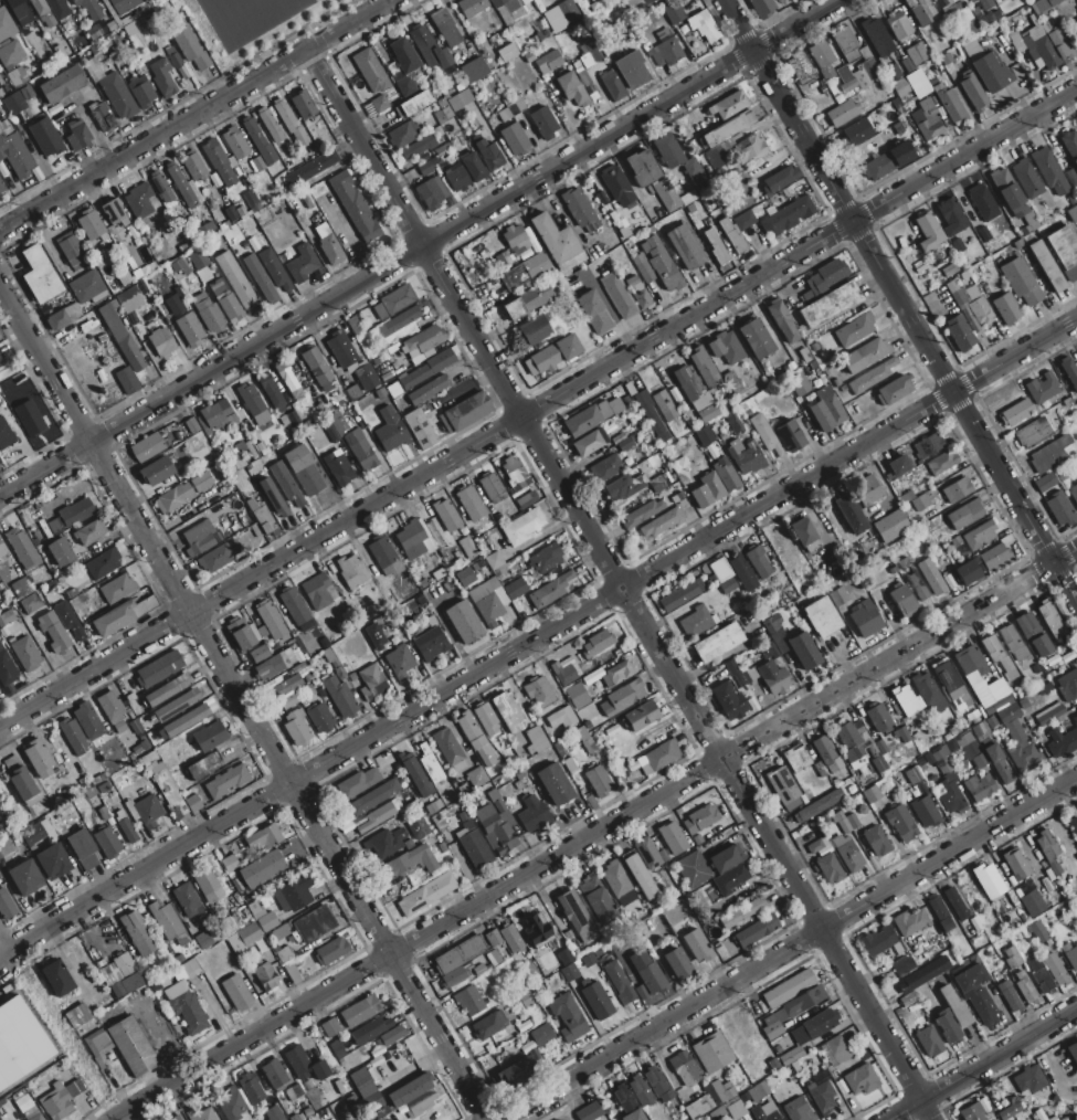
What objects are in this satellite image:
building: (1013, 0)
building: (647, 1)
building: (635, 2)
building: (1053, 2)
building: (942, 3)
building: (983, 3)
building: (124, 6)
building: (472, 7)
building: (1038, 7)
building: (59, 8)
building: (89, 8)
building: (761, 8)
building: (509, 10)
building: (18, 11)
building: (920, 11)
building: (42, 12)
building: (673, 12)
building: (995, 14)
building: (563, 15)
park: (247, 18)
building: (1076, 20)
building: (1076, 23)
building: (6, 24)
building: (110, 25)
building: (703, 25)
building: (898, 25)
building: (445, 28)
building: (130, 30)
building: (97, 31)
building: (553, 31)
building: (539, 36)
building: (877, 38)
building: (1059, 43)
building: (846, 45)
building: (970, 46)
building: (429, 49)
building: (191, 50)
building: (1041, 50)
building: (9, 52)
building: (59, 52)
building: (665, 52)
building: (98, 53)
building: (589, 53)
building: (864, 53)
building: (915, 53)
building: (404, 56)
building: (529, 56)
building: (822, 59)
building: (947, 59)
building: (176, 60)
building: (548, 61)
building: (907, 65)
building: (800, 67)
building: (869, 68)
building: (632, 70)
building: (370, 71)
building: (475, 71)
building: (843, 72)
building: (991, 72)
building: (893, 73)
building: (15, 77)
building: (583, 77)
building: (163, 78)
building: (860, 80)
building: (62, 84)
building: (612, 85)
building: (906, 85)
building: (848, 86)
building: (405, 87)
building: (572, 89)
building: (591, 91)
building: (972, 91)
building: (1, 93)
building: (140, 93)
building: (117, 96)
building: (460, 98)
building: (17, 101)
building: (441, 103)
building: (599, 103)
building: (303, 104)
building: (379, 104)
building: (895, 104)
building: (949, 104)
building: (413, 105)
building: (728, 105)
building: (930, 109)
building: (843, 113)
building: (442, 115)
building: (504, 115)
building: (102, 117)
road: (198, 117)
building: (543, 121)
building: (289, 123)
building: (270, 125)
building: (926, 126)
building: (728, 128)
building: (898, 128)
road: (93, 130)
building: (857, 133)
building: (403, 135)
building: (77, 136)
building: (45, 138)
building: (514, 139)
building: (323, 140)
building: (258, 141)
building: (234, 142)
building: (1070, 145)
building: (418, 148)
building: (442, 148)
building: (749, 149)
building: (667, 150)
building: (13, 151)
building: (488, 154)
building: (898, 155)
building: (714, 157)
building: (218, 161)
building: (231, 162)
building: (257, 163)
building: (194, 166)
building: (472, 166)
building: (877, 167)
building: (310, 168)
building: (642, 168)
building: (693, 170)
building: (1049, 170)
building: (731, 175)
building: (1026, 178)
building: (1071, 178)
building: (456, 179)
building: (780, 180)
building: (2, 186)
building: (160, 186)
building: (616, 186)
building: (181, 187)
building: (431, 192)
building: (1009, 192)
building: (667, 196)
building: (139, 200)
building: (251, 201)
building: (982, 202)
building: (353, 205)
road: (490, 208)
building: (580, 209)
building: (114, 212)
building: (1073, 214)
building: (789, 215)
building: (745, 220)
building: (953, 220)
building: (1030, 222)
building: (89, 224)
building: (204, 229)
building: (167, 231)
building: (928, 231)
building: (983, 233)
building: (230, 235)
building: (514, 235)
building: (732, 235)
building: (556, 239)
building: (1017, 243)
building: (328, 244)
road: (50, 245)
building: (958, 245)
building: (686, 247)
building: (715, 247)
building: (183, 249)
building: (521, 250)
building: (1064, 251)
building: (72, 252)
building: (481, 256)
building: (199, 258)
building: (180, 265)
building: (304, 265)
building: (662, 265)
building: (1046, 266)
building: (530, 267)
building: (644, 267)
building: (274, 270)
building: (40, 274)
building: (137, 274)
building: (214, 274)
building: (826, 275)
building: (514, 277)
building: (235, 279)
building: (553, 282)
building: (1021, 282)
building: (633, 284)
building: (86, 285)
building: (263, 285)
road: (2, 289)
building: (172, 293)
building: (64, 296)
building: (619, 296)
building: (957, 296)
building: (642, 299)
building: (225, 300)
road: (900, 300)
building: (526, 302)
building: (393, 303)
building: (129, 304)
building: (830, 304)
building: (979, 308)
building: (1006, 308)
building: (47, 309)
road: (609, 309)
building: (594, 311)
building: (72, 313)
building: (208, 314)
building: (56, 320)
building: (781, 320)
building: (399, 321)
building: (355, 327)
building: (857, 328)
building: (189, 329)
building: (535, 330)
building: (959, 334)
building: (120, 337)
building: (756, 338)
building: (828, 341)
building: (422, 342)
building: (161, 344)
building: (567, 347)
building: (726, 348)
building: (341, 350)
building: (73, 352)
building: (865, 355)
building: (804, 356)
building: (545, 359)
building: (374, 362)
building: (1, 363)
building: (704, 367)
building: (318, 369)
building: (427, 369)
building: (1069, 371)
building: (872, 377)
building: (287, 378)
building: (367, 378)
building: (127, 381)
building: (799, 383)
building: (691, 385)
building: (733, 385)
building: (1042, 388)
building: (426, 389)
building: (893, 390)
building: (270, 392)
building: (352, 392)
building: (823, 392)
building: (380, 393)
building: (250, 399)
building: (663, 402)
building: (1076, 404)
road: (538, 408)
building: (465, 412)
building: (827, 412)
building: (1015, 412)
building: (708, 413)
building: (214, 414)
building: (591, 416)
building: (651, 416)
building: (28, 418)
building: (284, 420)
building: (263, 422)
building: (735, 422)
building: (337, 424)
building: (192, 425)
building: (420, 429)
building: (683, 429)
building: (390, 430)
building: (328, 431)
building: (1033, 433)
building: (765, 434)
building: (6, 435)
building: (703, 435)
building: (790, 435)
building: (589, 443)
building: (624, 444)
building: (928, 445)
road: (87, 446)
building: (147, 446)
building: (240, 448)
building: (251, 450)
building: (360, 450)
building: (1050, 454)
building: (747, 457)
building: (201, 458)
building: (942, 463)
building: (648, 464)
building: (899, 465)
building: (338, 468)
building: (605, 468)
building: (304, 469)
building: (514, 469)
building: (156, 472)
building: (1062, 475)
building: (726, 476)
building: (889, 476)
building: (917, 477)
building: (202, 483)
building: (285, 484)
building: (520, 484)
building: (656, 484)
building: (1043, 484)
building: (712, 485)
building: (492, 487)
building: (624, 487)
road: (18, 488)
building: (867, 490)
building: (520, 493)
building: (1074, 493)
building: (942, 494)
building: (911, 495)
building: (700, 496)
building: (273, 497)
building: (173, 498)
building: (527, 499)
building: (471, 503)
building: (1059, 509)
building: (75, 510)
building: (642, 514)
building: (964, 514)
building: (446, 515)
building: (851, 515)
building: (263, 518)
building: (221, 521)
building: (662, 522)
building: (55, 525)
building: (522, 526)
building: (890, 526)
building: (255, 530)
building: (89, 532)
building: (804, 535)
building: (979, 535)
building: (198, 539)
building: (411, 539)
building: (489, 540)
building: (955, 542)
building: (427, 545)
building: (467, 547)
building: (22, 549)
building: (2, 550)
building: (60, 552)
building: (219, 556)
building: (384, 556)
building: (994, 556)
building: (546, 558)
building: (495, 561)
building: (758, 561)
building: (103, 563)
building: (500, 569)
building: (351, 572)
building: (742, 572)
building: (968, 572)
building: (440, 573)
building: (931, 575)
building: (912, 579)
building: (423, 584)
building: (729, 585)
building: (20, 587)
road: (620, 587)
building: (117, 589)
building: (516, 589)
building: (317, 591)
building: (549, 591)
building: (72, 593)
building: (682, 594)
building: (838, 596)
building: (902, 601)
building: (488, 603)
building: (31, 604)
building: (762, 604)
road: (684, 606)
building: (295, 607)
building: (80, 614)
building: (120, 616)
building: (821, 616)
building: (6, 619)
building: (865, 619)
building: (1049, 619)
building: (68, 620)
building: (271, 621)
building: (431, 621)
building: (695, 621)
building: (464, 622)
building: (770, 625)
building: (418, 628)
building: (262, 630)
building: (53, 633)
building: (1032, 633)
building: (243, 638)
building: (306, 638)
road: (535, 638)
building: (319, 643)
building: (717, 643)
building: (1013, 643)
building: (431, 644)
building: (596, 644)
building: (773, 649)
building: (803, 651)
building: (25, 654)
building: (258, 654)
building: (328, 655)
building: (997, 656)
building: (970, 661)
road: (984, 661)
building: (400, 662)
building: (274, 665)
building: (731, 666)
building: (159, 668)
building: (6, 669)
building: (556, 669)
building: (340, 673)
building: (617, 674)
building: (595, 675)
building: (750, 675)
building: (309, 677)
building: (352, 677)
building: (947, 677)
building: (740, 678)
building: (773, 678)
building: (277, 679)
building: (372, 683)
building: (287, 685)
building: (1067, 685)
building: (166, 689)
building: (309, 690)
building: (539, 691)
building: (928, 693)
building: (578, 696)
building: (130, 697)
building: (339, 697)
building: (621, 697)
building: (287, 701)
building: (728, 701)
building: (905, 701)
building: (997, 704)
building: (1022, 704)
building: (173, 706)
road: (244, 707)
building: (110, 709)
building: (508, 711)
building: (1049, 714)
building: (640, 716)
building: (561, 717)
building: (320, 718)
building: (879, 718)
building: (485, 719)
building: (1075, 719)
building: (87, 720)
building: (184, 720)
building: (1006, 721)
building: (135, 726)
building: (296, 728)
building: (979, 729)
building: (612, 730)
building: (954, 730)
building: (901, 735)
building: (73, 736)
building: (209, 737)
building: (475, 739)
building: (584, 740)
building: (536, 741)
building: (853, 741)
building: (1063, 743)
building: (144, 744)
building: (967, 746)
building: (558, 747)
building: (880, 747)
building: (450, 749)
building: (823, 749)
building: (521, 751)
building: (873, 751)
building: (943, 751)
building: (937, 757)
building: (796, 758)
building: (1022, 758)
building: (39, 759)
building: (655, 759)
building: (980, 760)
building: (996, 762)
building: (430, 763)
building: (836, 763)
building: (204, 765)
building: (570, 765)
building: (820, 769)
building: (831, 769)
building: (415, 774)
building: (912, 775)
building: (476, 776)
building: (120, 781)
building: (598, 781)
building: (225, 782)
building: (358, 782)
building: (555, 784)
building: (165, 785)
building: (23, 786)
building: (979, 786)
building: (783, 788)
building: (463, 789)
building: (872, 794)
building: (950, 794)
building: (494, 795)
building: (374, 796)
building: (472, 802)
building: (591, 802)
building: (193, 803)
building: (819, 805)
building: (431, 809)
building: (147, 811)
building: (926, 812)
building: (104, 813)
building: (534, 814)
building: (377, 817)
building: (700, 818)
building: (824, 818)
building: (848, 823)
building: (900, 823)
building: (1073, 825)
building: (497, 826)
building: (6, 828)
building: (127, 831)
building: (32, 834)
road: (594, 834)
road: (1059, 834)
building: (673, 837)
building: (264, 839)
building: (876, 841)
building: (107, 842)
building: (382, 844)
building: (1046, 844)
building: (814, 846)
building: (442, 847)
building: (82, 848)
building: (473, 848)
building: (453, 849)
building: (648, 854)
building: (846, 854)
building: (726, 858)
building: (411, 860)
building: (52, 862)
building: (229, 864)
building: (1016, 864)
building: (263, 869)
building: (694, 869)
building: (828, 869)
building: (24, 877)
building: (640, 877)
building: (615, 878)
building: (730, 879)
building: (988, 880)
building: (208, 885)
building: (969, 891)
building: (296, 892)
building: (427, 895)
building: (711, 895)
building: (596, 899)
building: (187, 900)
building: (1033, 904)
building: (6, 905)
building: (957, 907)
building: (743, 912)
building: (939, 912)
building: (577, 916)
building: (267, 922)
building: (911, 922)
building: (169, 923)
building: (314, 924)
building: (229, 926)
building: (536, 930)
building: (756, 930)
building: (1037, 932)
building: (137, 933)
building: (243, 938)
building: (493, 939)
building: (203, 940)
building: (511, 940)
building: (879, 942)
road: (6, 943)
building: (698, 944)
road: (789, 950)
building: (330, 951)
building: (285, 955)
building: (457, 955)
building: (1069, 955)
building: (563, 957)
building: (493, 958)
building: (1012, 958)
building: (606, 960)
building: (677, 963)
building: (902, 965)
building: (479, 970)
building: (648, 970)
building: (1055, 970)
building: (293, 971)
building: (192, 972)
building: (569, 972)
building: (120, 975)
building: (264, 976)
building: (455, 976)
building: (1039, 976)
building: (59, 981)
building: (619, 981)
building: (1025, 987)
building: (789, 989)
building: (641, 992)
building: (975, 992)
building: (236, 993)
building: (1010, 995)
building: (525, 999)
building: (908, 1000)
building: (468, 1001)
building: (596, 1001)
building: (804, 1002)
building: (955, 1005)
building: (186, 1007)
building: (359, 1012)
building: (77, 1014)
building: (568, 1017)
building: (488, 1026)
building: (814, 1026)
building: (948, 1027)
building: (331, 1028)
building: (369, 1031)
building: (772, 1031)
building: (541, 1035)
building: (393, 1036)
building: (929, 1042)
building: (20, 1043)
building: (98, 1044)
building: (133, 1046)
building: (337, 1049)
building: (837, 1049)
building: (711, 1053)
building: (1073, 1053)
building: (790, 1056)
road: (1049, 1061)
building: (773, 1064)
road: (983, 1064)
building: (305, 1065)
building: (516, 1071)
building: (679, 1071)
building: (287, 1073)
building: (274, 1075)
building: (1030, 1078)
building: (860, 1079)
building: (657, 1084)
building: (307, 1085)
building: (841, 1087)
building: (251, 1089)
building: (411, 1089)
building: (640, 1090)
building: (758, 1091)
building: (294, 1092)
building: (729, 1093)
building: (821, 1097)
building: (624, 1099)
building: (365, 1101)
building: (56, 1102)
building: (22, 1103)
building: (421, 1103)
building: (233, 1106)
building: (701, 1106)
building: (735, 1108)
building: (795, 1109)
building: (1009, 1110)
building: (308, 1111)
building: (384, 1111)
building: (587, 1112)
building: (764, 1112)
building: (973, 1112)
building: (717, 1113)
building: (201, 1114)
building: (271, 1114)
building: (634, 1114)
building: (297, 1117)
building: (431, 1117)
building: (745, 1117)
building: (36, 1118)
building: (175, 1118)
building: (0, 1119)
building: (360, 1119)
building: (362, 1119)

